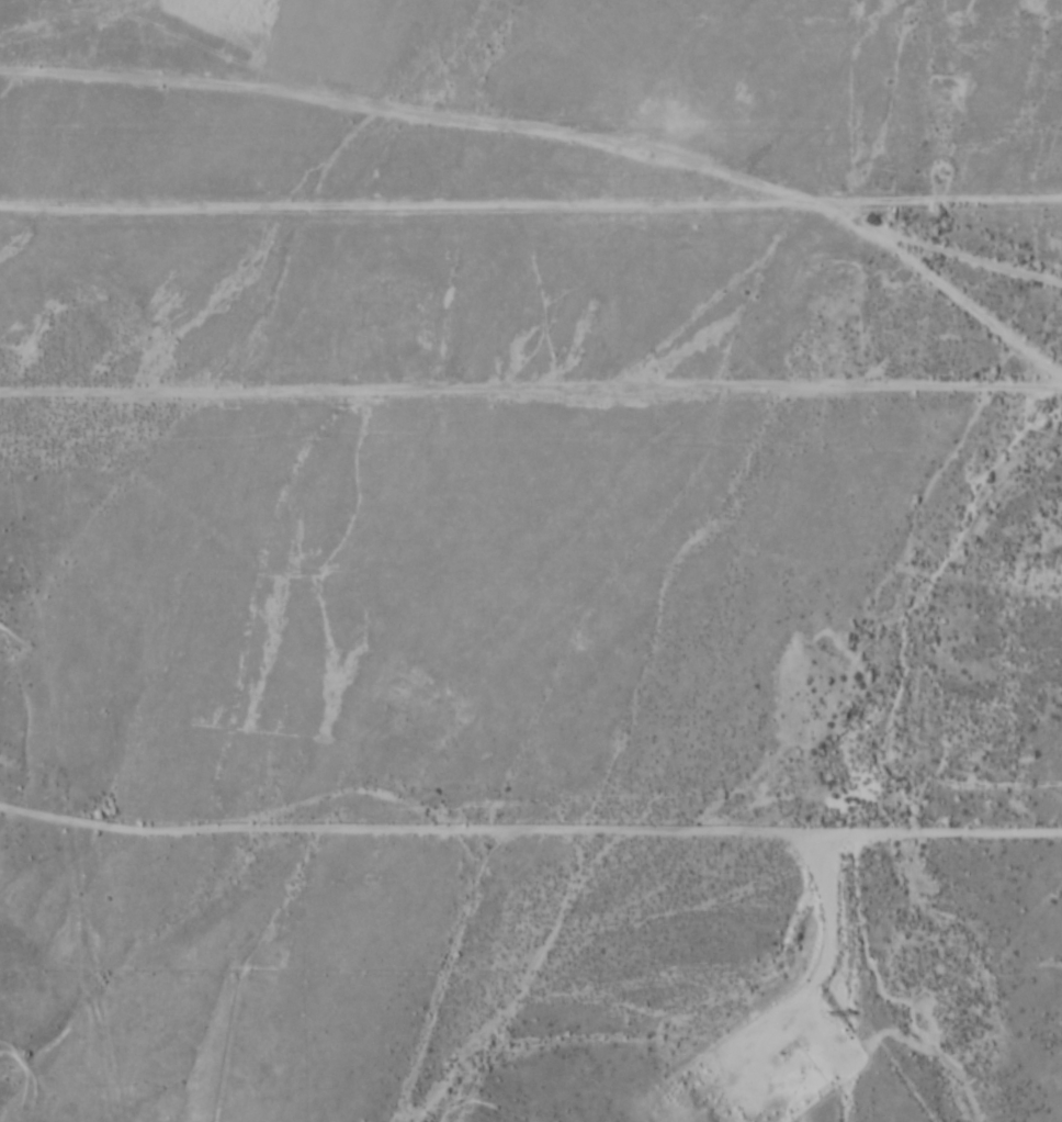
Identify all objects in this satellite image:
road: (530, 424)

